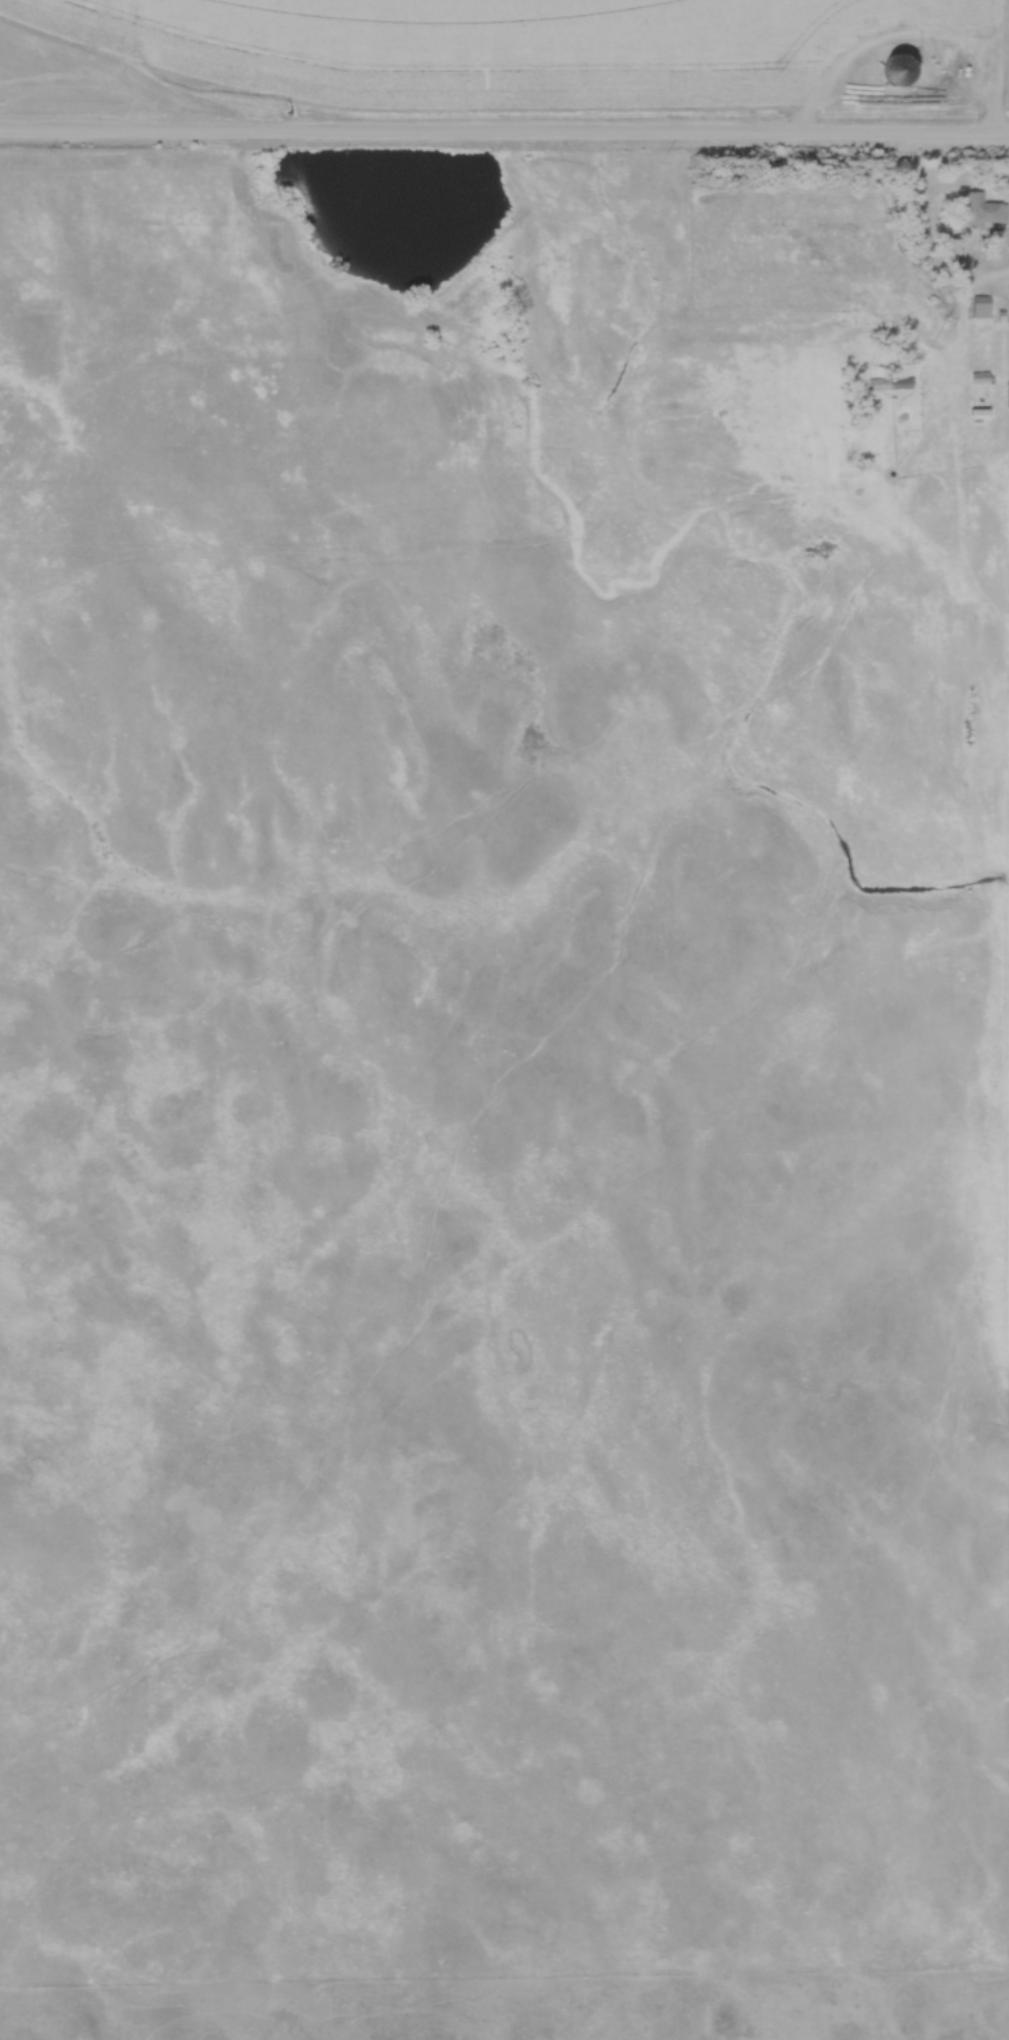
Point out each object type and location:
road: (504, 133)
building: (981, 210)
road: (1007, 281)
building: (980, 308)
building: (1006, 397)

